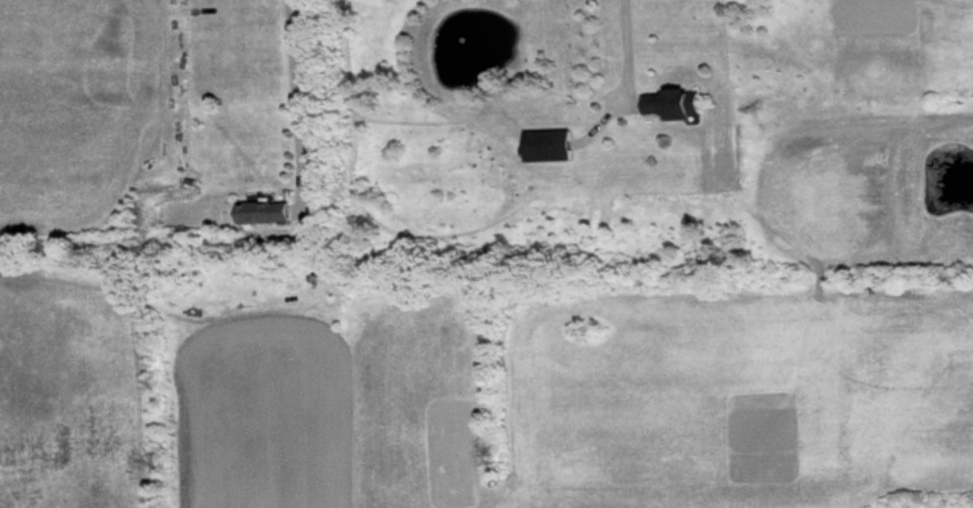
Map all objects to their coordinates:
road: (618, 51)
building: (678, 104)
building: (552, 145)
building: (270, 212)

